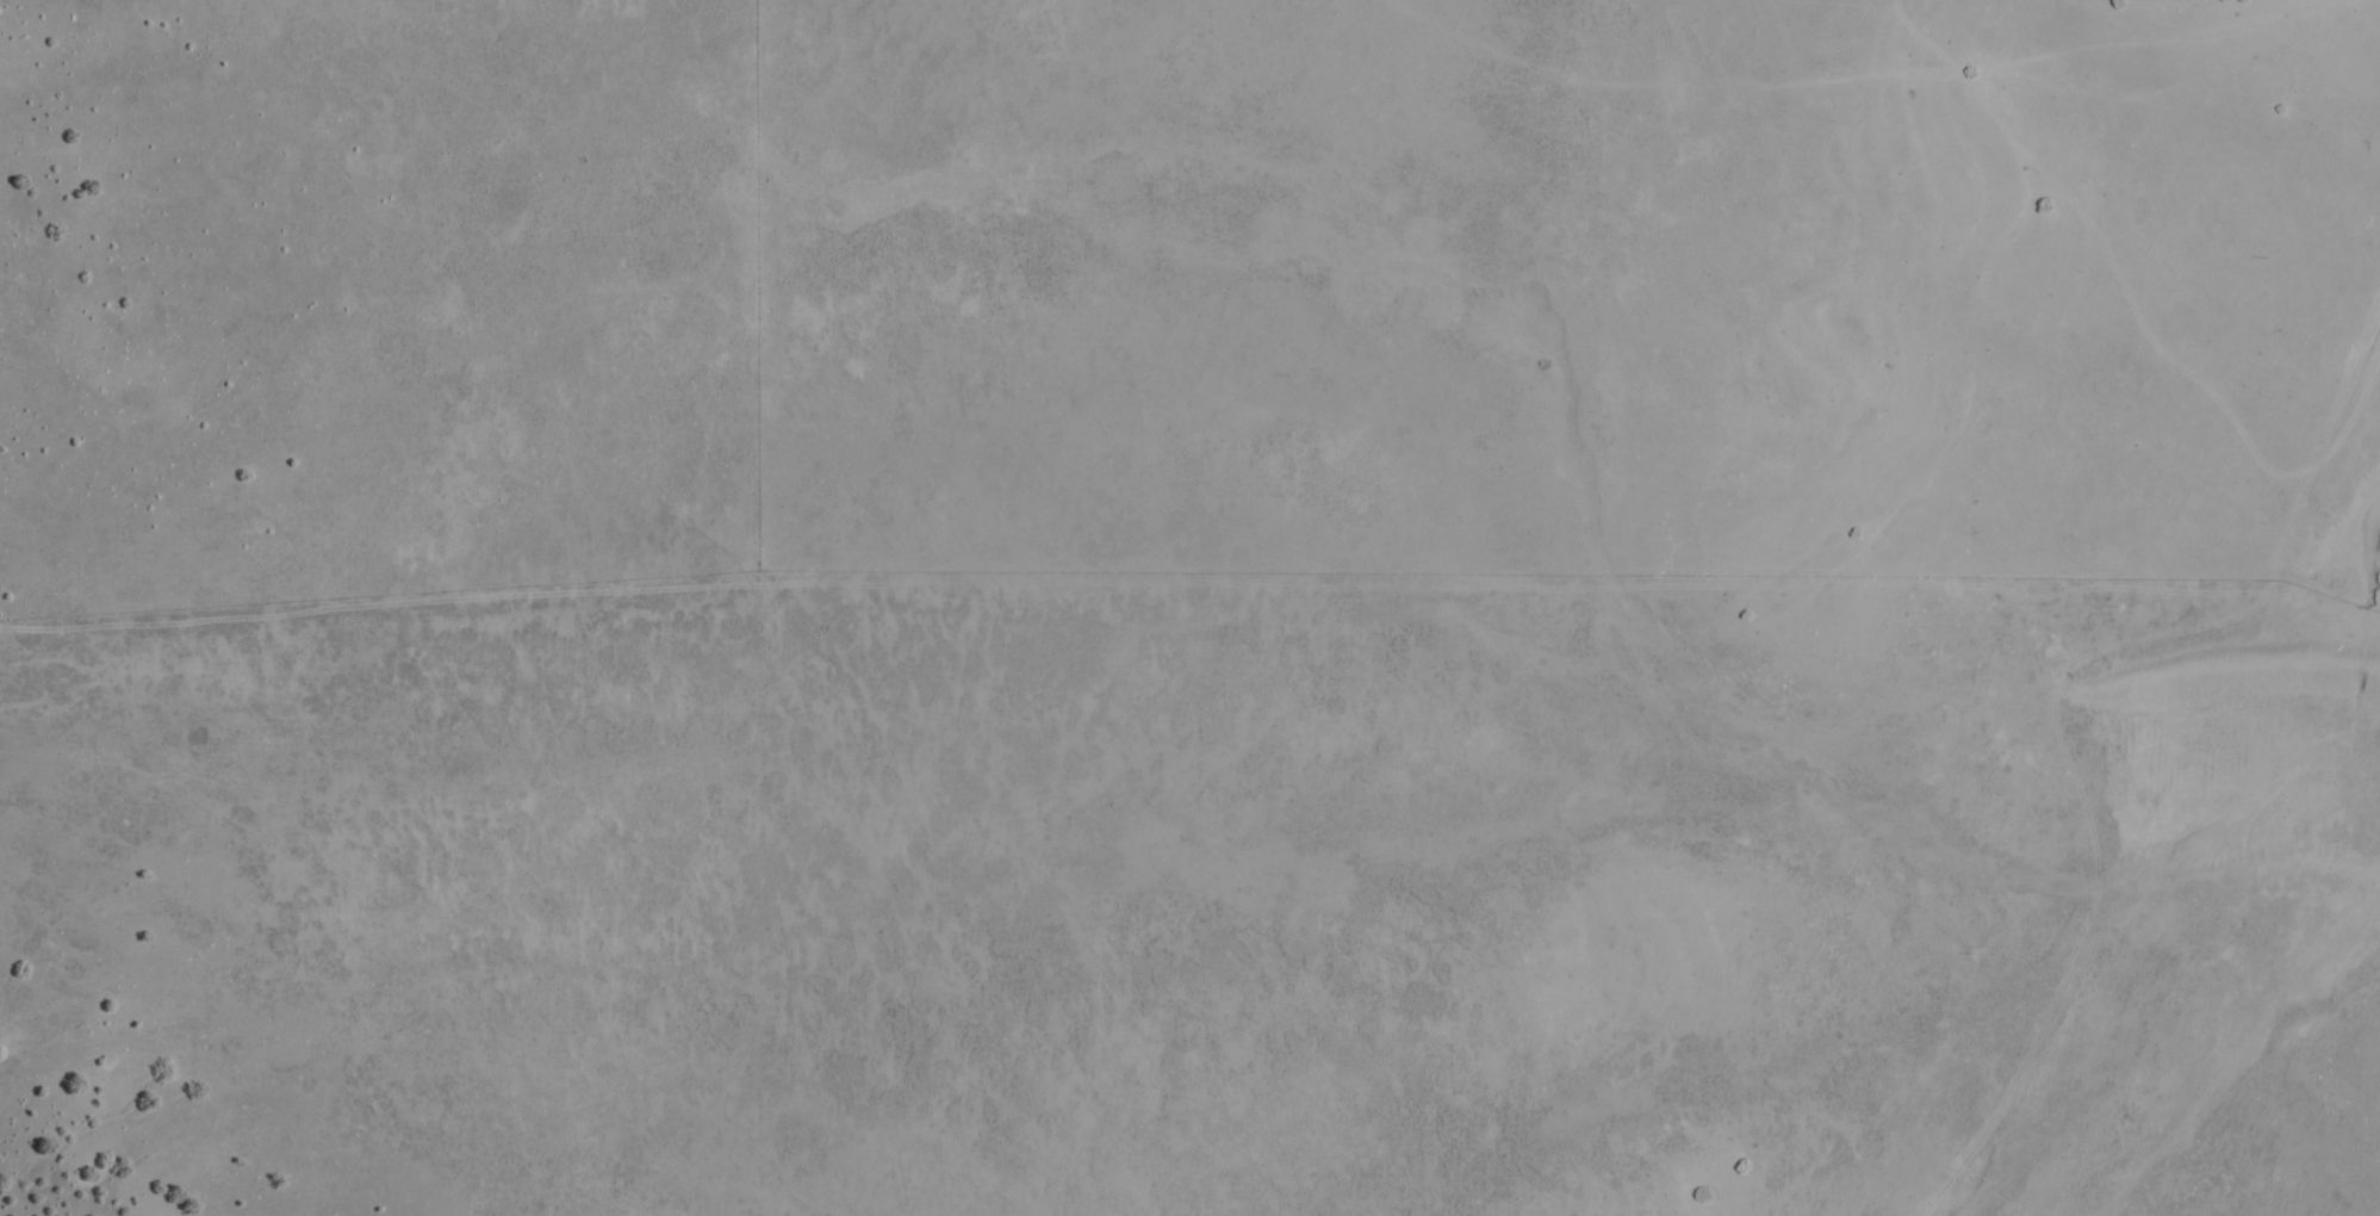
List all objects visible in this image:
road: (2140, 843)

